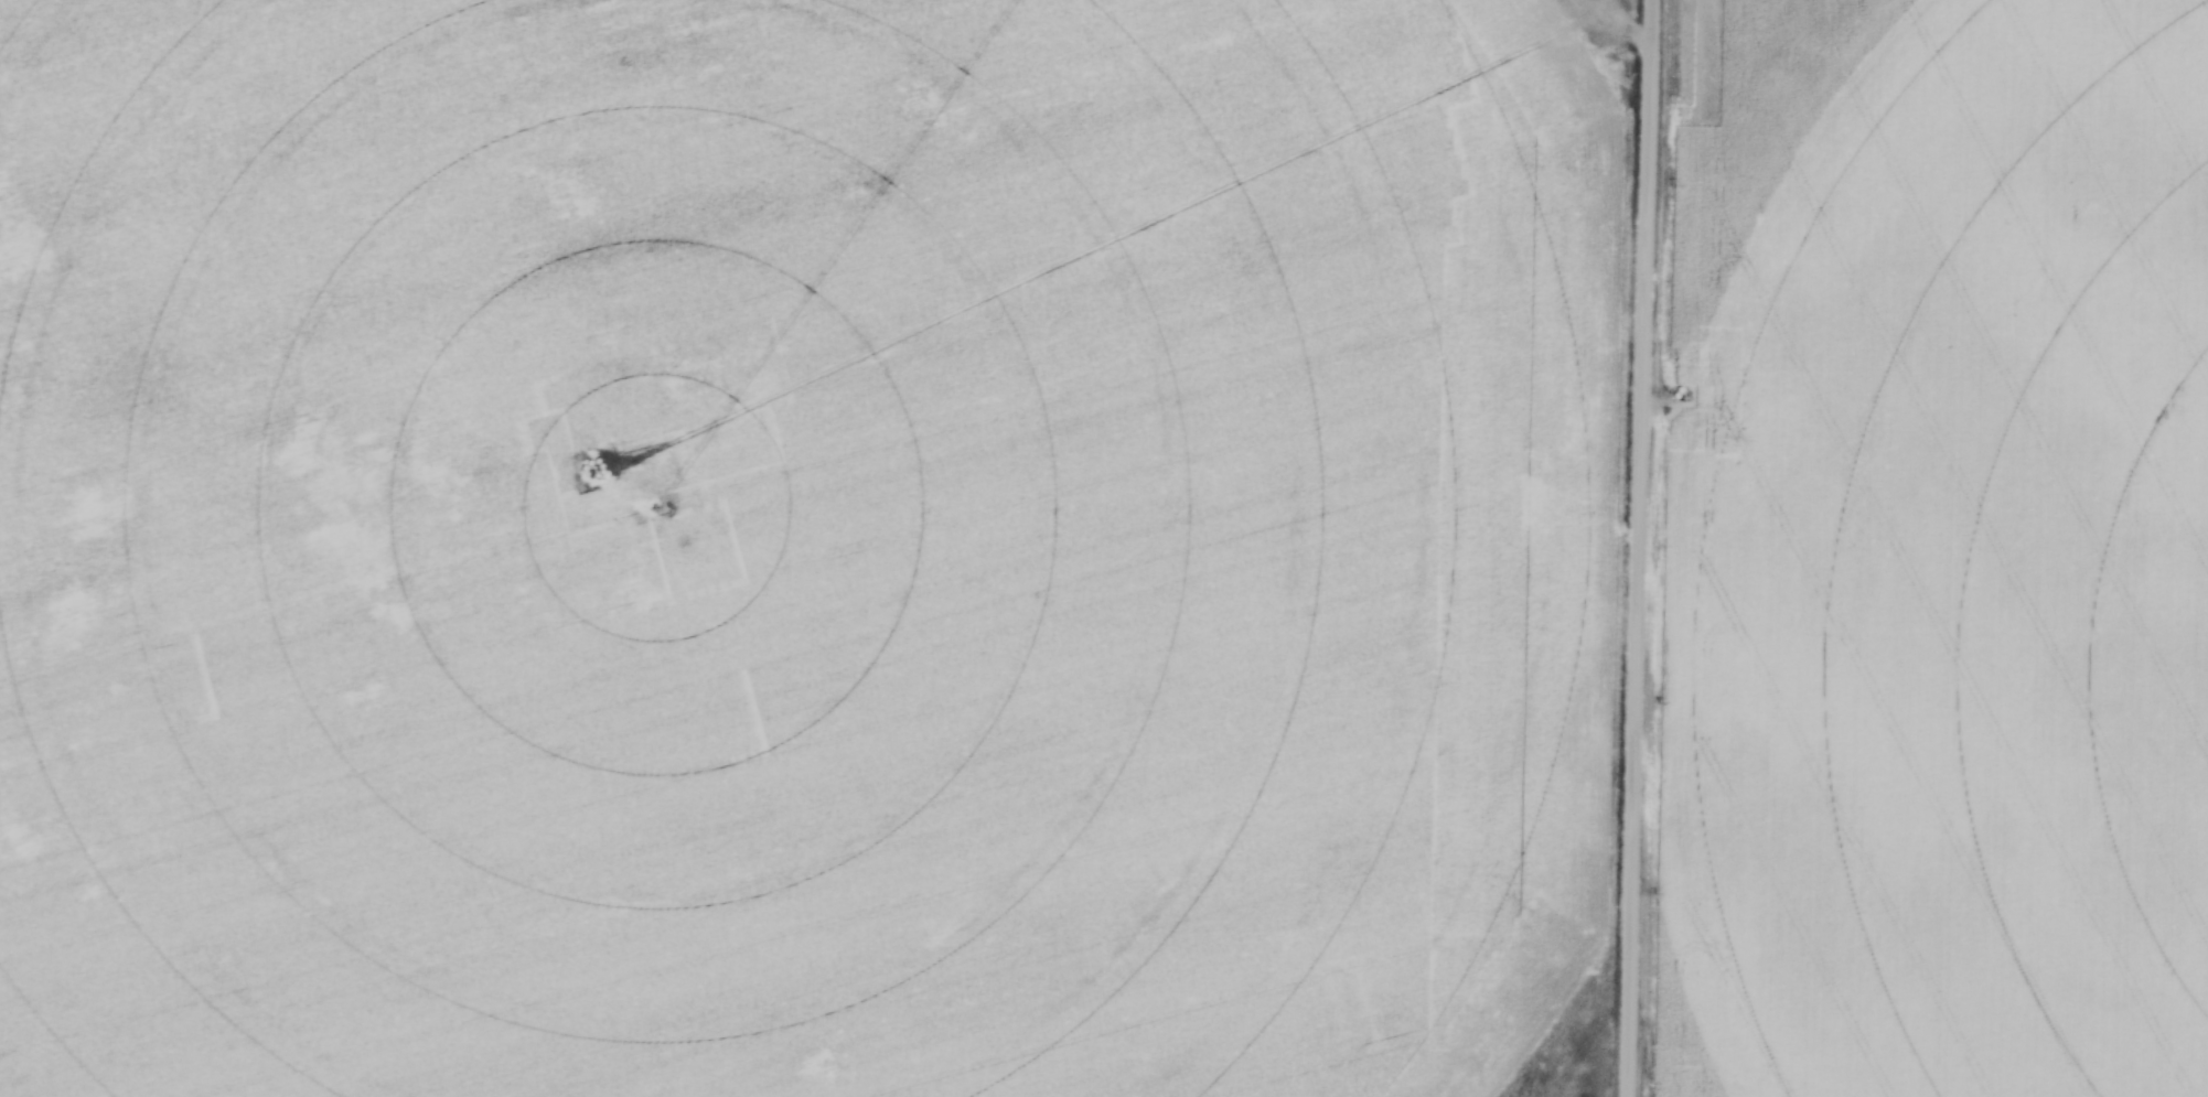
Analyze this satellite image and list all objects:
crop: (798, 546)
road: (1636, 548)

